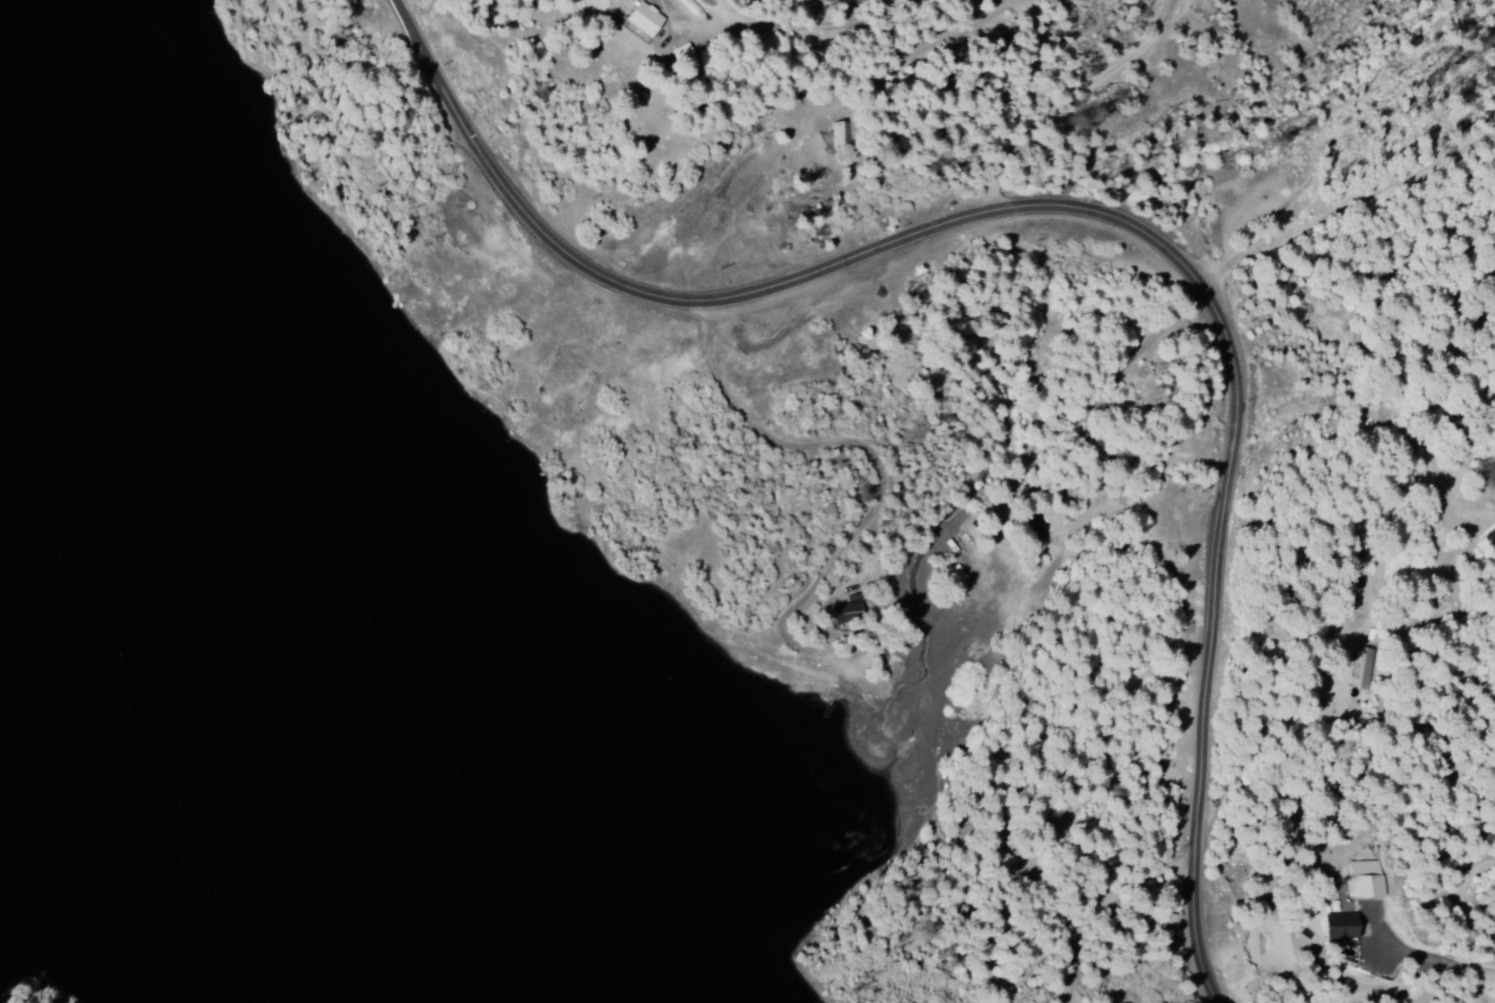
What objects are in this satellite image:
building: (641, 19)
road: (888, 45)
road: (1014, 110)
road: (1343, 183)
road: (1110, 247)
road: (672, 395)
road: (1422, 408)
road: (1041, 417)
building: (845, 613)
river: (221, 651)
building: (1380, 672)
road: (1151, 759)
building: (1337, 927)
river: (504, 968)

